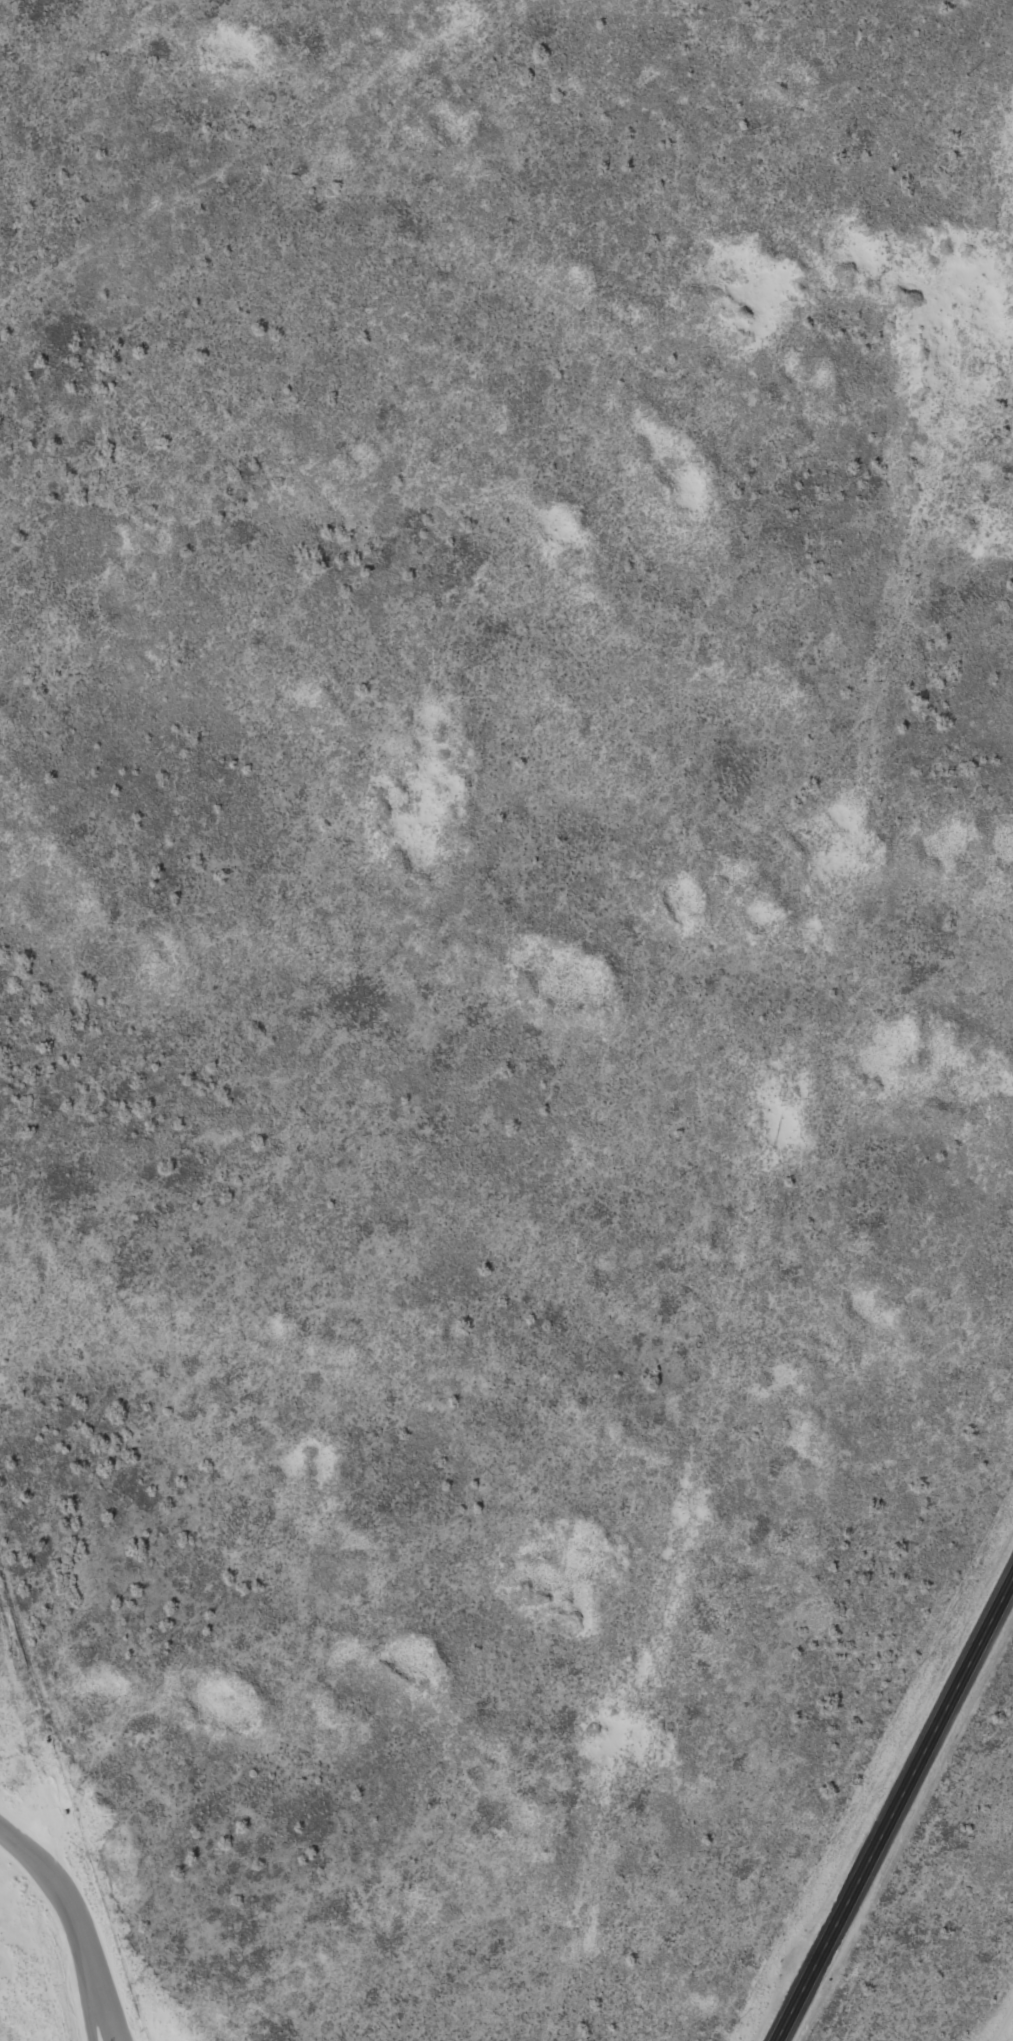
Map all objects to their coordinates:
road: (893, 1806)

